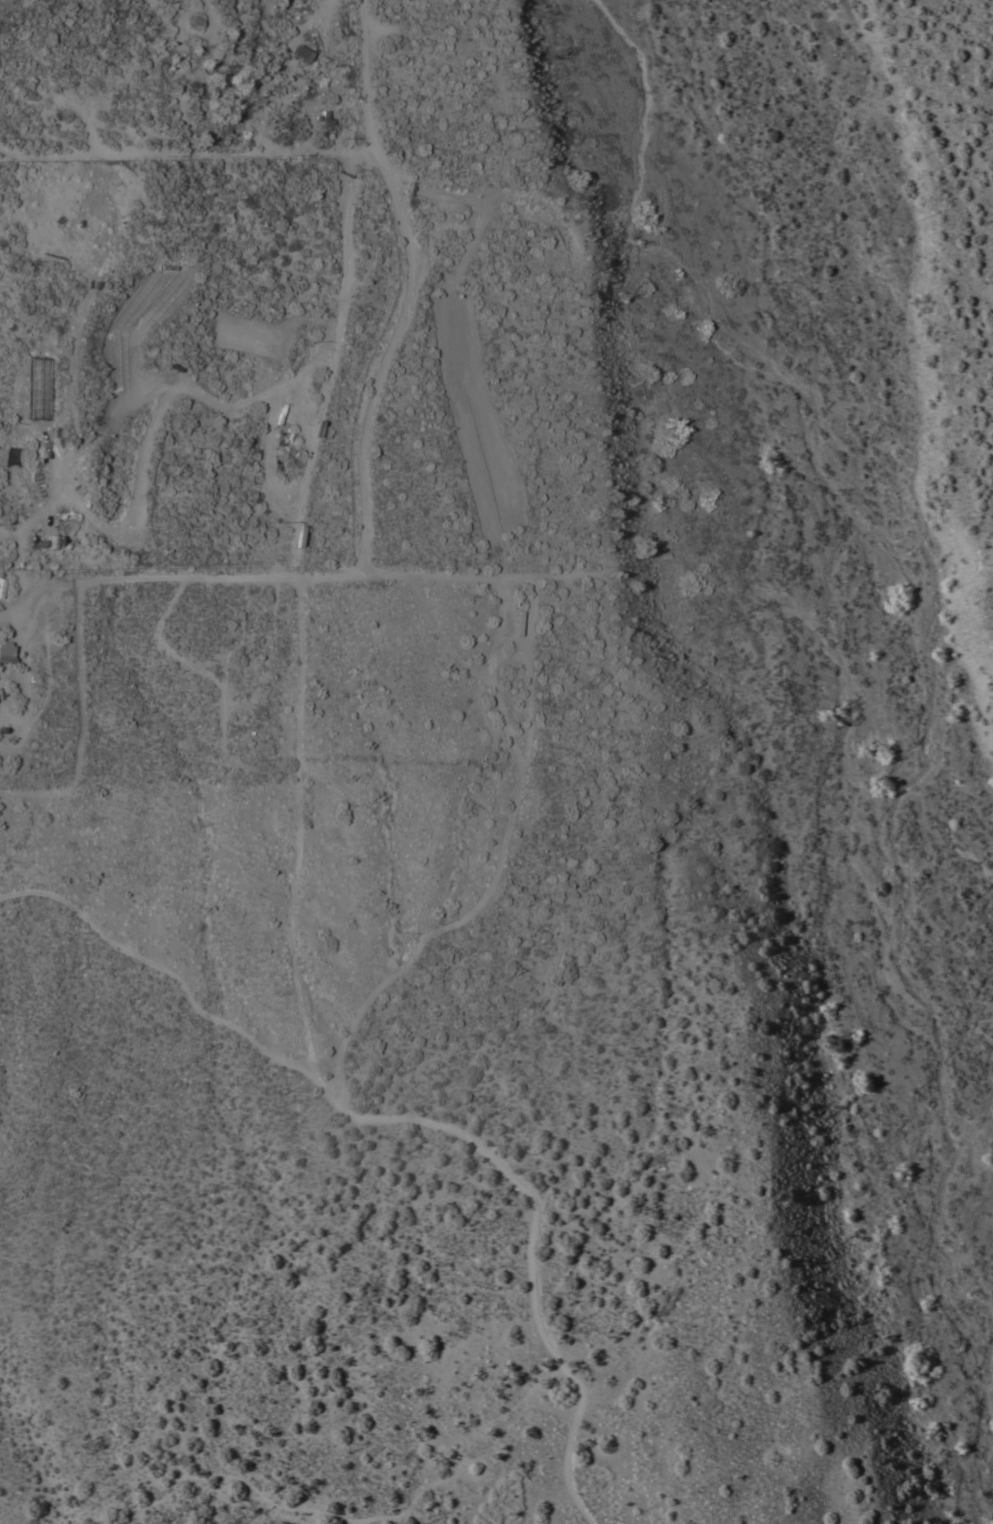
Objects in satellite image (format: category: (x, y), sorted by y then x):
building: (300, 55)
road: (372, 396)
road: (300, 523)
road: (42, 591)
building: (5, 653)
road: (492, 677)
road: (299, 829)
road: (424, 939)
road: (530, 1238)

